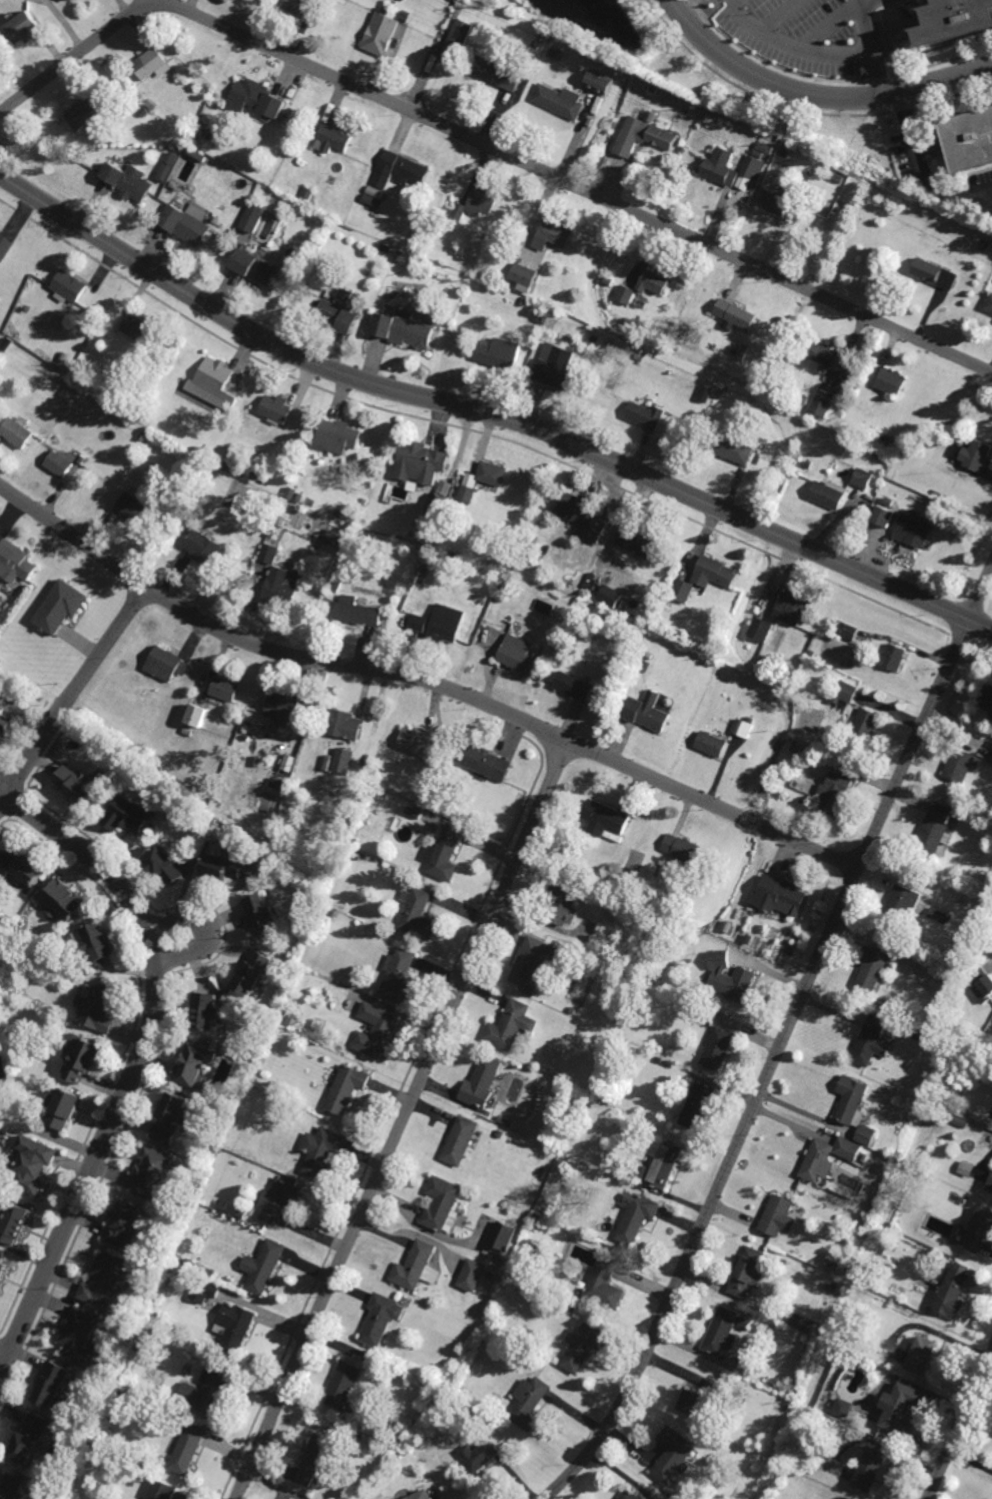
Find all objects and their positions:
building: (71, 0)
building: (300, 7)
building: (408, 14)
road: (776, 14)
building: (953, 19)
road: (861, 20)
road: (820, 23)
building: (22, 25)
road: (789, 32)
building: (460, 34)
building: (379, 35)
building: (536, 45)
road: (858, 49)
building: (554, 55)
building: (152, 63)
building: (496, 74)
building: (600, 83)
building: (653, 90)
road: (816, 93)
building: (142, 95)
building: (258, 100)
building: (559, 101)
building: (154, 103)
building: (145, 112)
building: (84, 114)
building: (700, 127)
building: (202, 129)
building: (733, 129)
building: (643, 135)
building: (334, 138)
building: (196, 139)
building: (969, 139)
road: (488, 145)
building: (762, 148)
building: (757, 155)
building: (169, 166)
building: (720, 167)
road: (923, 169)
building: (399, 170)
building: (749, 172)
building: (129, 181)
building: (375, 193)
building: (309, 194)
road: (980, 195)
building: (477, 204)
building: (773, 204)
building: (253, 218)
building: (188, 223)
building: (551, 236)
building: (319, 244)
building: (985, 245)
building: (5, 247)
building: (387, 249)
building: (402, 256)
building: (258, 269)
building: (934, 274)
building: (523, 275)
building: (608, 282)
building: (654, 283)
building: (69, 286)
building: (626, 295)
building: (346, 296)
building: (524, 302)
building: (989, 305)
building: (736, 314)
building: (339, 317)
building: (540, 317)
building: (137, 327)
building: (404, 331)
building: (609, 345)
building: (503, 353)
building: (744, 353)
building: (826, 356)
building: (640, 357)
building: (61, 361)
building: (554, 367)
building: (65, 381)
building: (214, 383)
building: (891, 383)
building: (71, 385)
building: (720, 394)
building: (806, 401)
building: (822, 407)
building: (276, 410)
road: (488, 412)
building: (646, 417)
building: (16, 432)
building: (144, 436)
building: (337, 437)
building: (734, 449)
building: (152, 451)
building: (974, 456)
building: (81, 460)
building: (60, 463)
building: (421, 463)
building: (227, 467)
building: (864, 480)
building: (482, 481)
building: (291, 493)
building: (829, 496)
building: (299, 498)
building: (890, 503)
building: (438, 506)
building: (133, 509)
building: (577, 510)
building: (338, 514)
building: (267, 518)
building: (885, 518)
building: (280, 522)
building: (273, 529)
building: (596, 530)
building: (913, 532)
building: (637, 540)
building: (521, 543)
building: (202, 547)
building: (269, 553)
building: (14, 562)
building: (713, 572)
building: (335, 586)
building: (280, 588)
building: (682, 591)
road: (981, 594)
building: (610, 596)
building: (502, 597)
building: (68, 600)
building: (790, 608)
building: (358, 612)
building: (419, 623)
building: (443, 628)
building: (762, 630)
building: (850, 632)
building: (520, 656)
building: (895, 657)
building: (166, 664)
building: (645, 666)
building: (39, 672)
road: (424, 678)
building: (136, 681)
building: (785, 682)
building: (575, 686)
building: (225, 689)
building: (823, 692)
road: (73, 694)
building: (845, 694)
building: (143, 695)
building: (986, 697)
building: (283, 707)
building: (677, 711)
building: (957, 711)
building: (647, 712)
building: (991, 713)
building: (197, 715)
building: (4, 722)
building: (867, 722)
building: (344, 725)
building: (743, 727)
building: (414, 742)
building: (712, 744)
building: (991, 760)
building: (343, 761)
building: (799, 761)
building: (485, 762)
building: (832, 762)
building: (961, 765)
building: (277, 783)
building: (76, 787)
building: (834, 794)
building: (379, 795)
building: (414, 813)
building: (129, 816)
building: (606, 819)
building: (937, 829)
building: (681, 849)
building: (443, 856)
building: (164, 866)
building: (21, 867)
building: (226, 867)
building: (780, 897)
building: (904, 901)
building: (63, 902)
building: (562, 902)
building: (262, 917)
building: (418, 917)
building: (942, 917)
road: (207, 928)
building: (748, 939)
building: (98, 942)
building: (911, 949)
building: (533, 962)
building: (874, 970)
building: (253, 975)
building: (397, 976)
building: (731, 980)
building: (982, 984)
building: (887, 1005)
building: (99, 1008)
building: (205, 1012)
building: (705, 1014)
building: (510, 1025)
building: (946, 1032)
building: (379, 1034)
building: (923, 1039)
building: (718, 1049)
building: (871, 1049)
building: (81, 1058)
road: (139, 1062)
road: (771, 1067)
building: (196, 1068)
building: (64, 1069)
building: (481, 1083)
building: (345, 1089)
building: (852, 1101)
building: (697, 1106)
building: (229, 1108)
building: (63, 1110)
road: (398, 1119)
building: (171, 1120)
building: (502, 1120)
building: (640, 1128)
building: (500, 1134)
building: (868, 1136)
building: (460, 1141)
building: (932, 1149)
building: (848, 1150)
building: (322, 1154)
building: (927, 1158)
building: (819, 1163)
building: (665, 1165)
building: (33, 1166)
building: (965, 1170)
building: (153, 1177)
building: (989, 1184)
building: (876, 1195)
building: (281, 1201)
building: (441, 1204)
building: (241, 1213)
building: (776, 1214)
building: (635, 1217)
building: (14, 1221)
building: (534, 1221)
building: (125, 1222)
building: (978, 1229)
building: (504, 1235)
building: (503, 1258)
building: (952, 1262)
building: (843, 1264)
building: (2, 1265)
building: (414, 1265)
building: (263, 1266)
building: (195, 1267)
building: (207, 1271)
building: (748, 1271)
building: (472, 1275)
building: (496, 1277)
building: (104, 1279)
building: (879, 1280)
building: (603, 1285)
building: (831, 1287)
building: (204, 1290)
building: (953, 1291)
building: (567, 1309)
building: (381, 1319)
building: (744, 1323)
building: (803, 1323)
building: (235, 1326)
building: (142, 1327)
building: (721, 1332)
building: (81, 1334)
building: (581, 1347)
building: (922, 1354)
road: (3, 1357)
building: (52, 1383)
building: (344, 1385)
building: (212, 1388)
building: (703, 1401)
building: (528, 1403)
building: (903, 1408)
building: (830, 1412)
building: (445, 1420)
road: (959, 1425)
building: (28, 1438)
building: (187, 1449)
building: (316, 1453)
building: (673, 1453)
building: (479, 1456)
building: (869, 1469)
building: (11, 1487)
building: (158, 1490)
building: (420, 1495)
building: (631, 1495)

